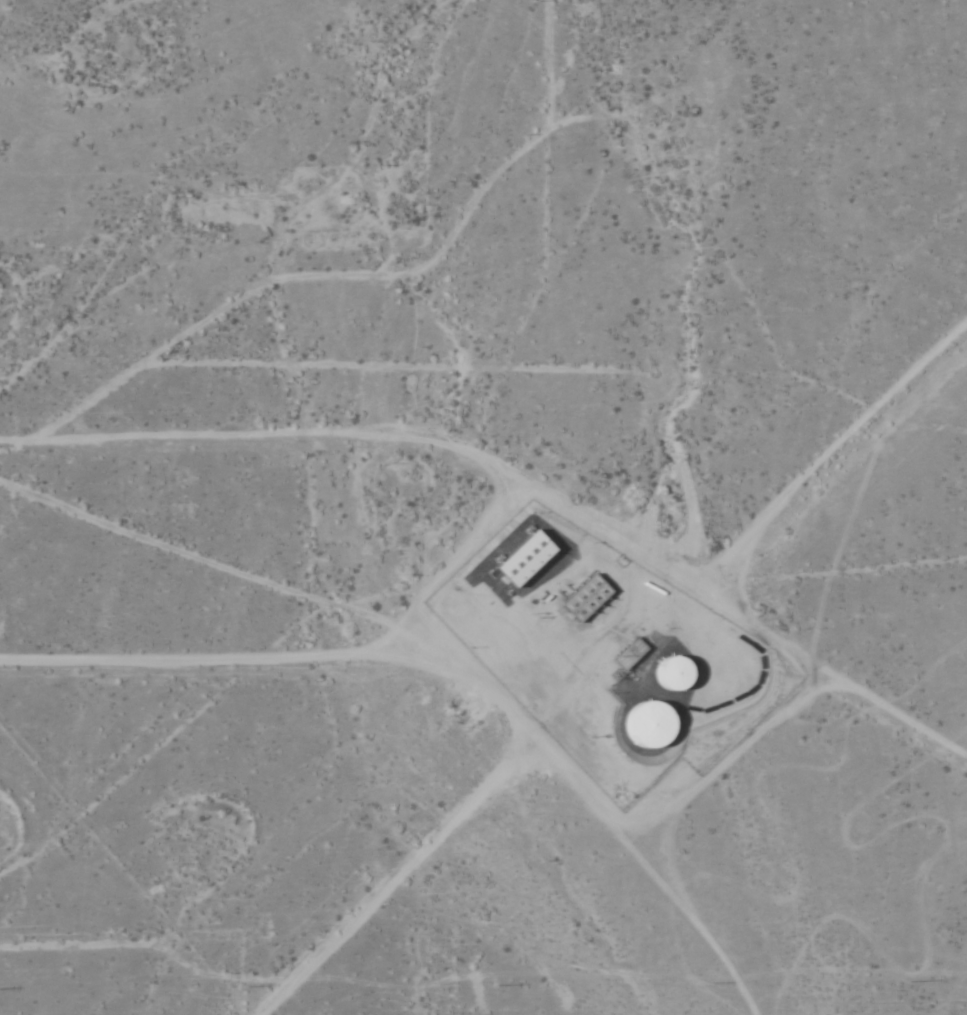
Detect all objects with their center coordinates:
building: (519, 559)
road: (734, 586)
building: (582, 599)
building: (628, 655)
building: (667, 673)
building: (645, 725)

